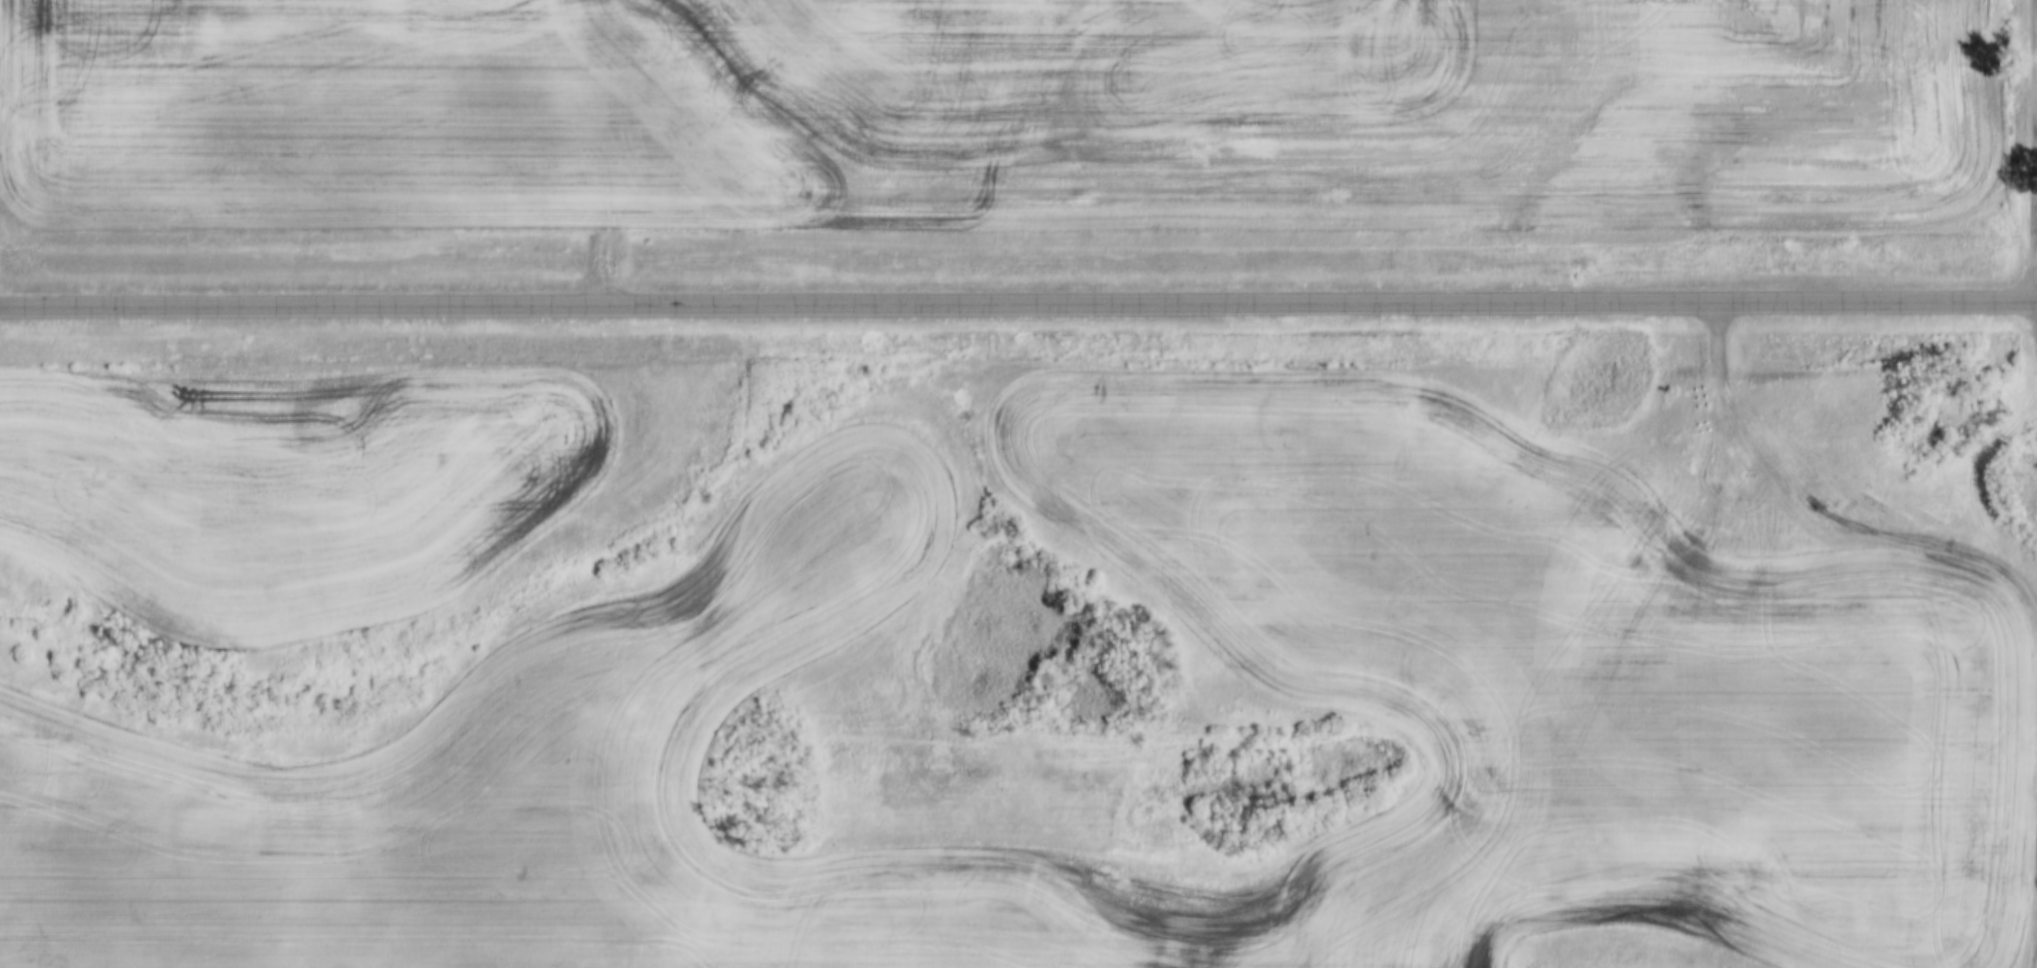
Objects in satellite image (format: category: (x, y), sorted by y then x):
road: (2034, 151)
road: (1018, 305)
road: (1998, 563)

